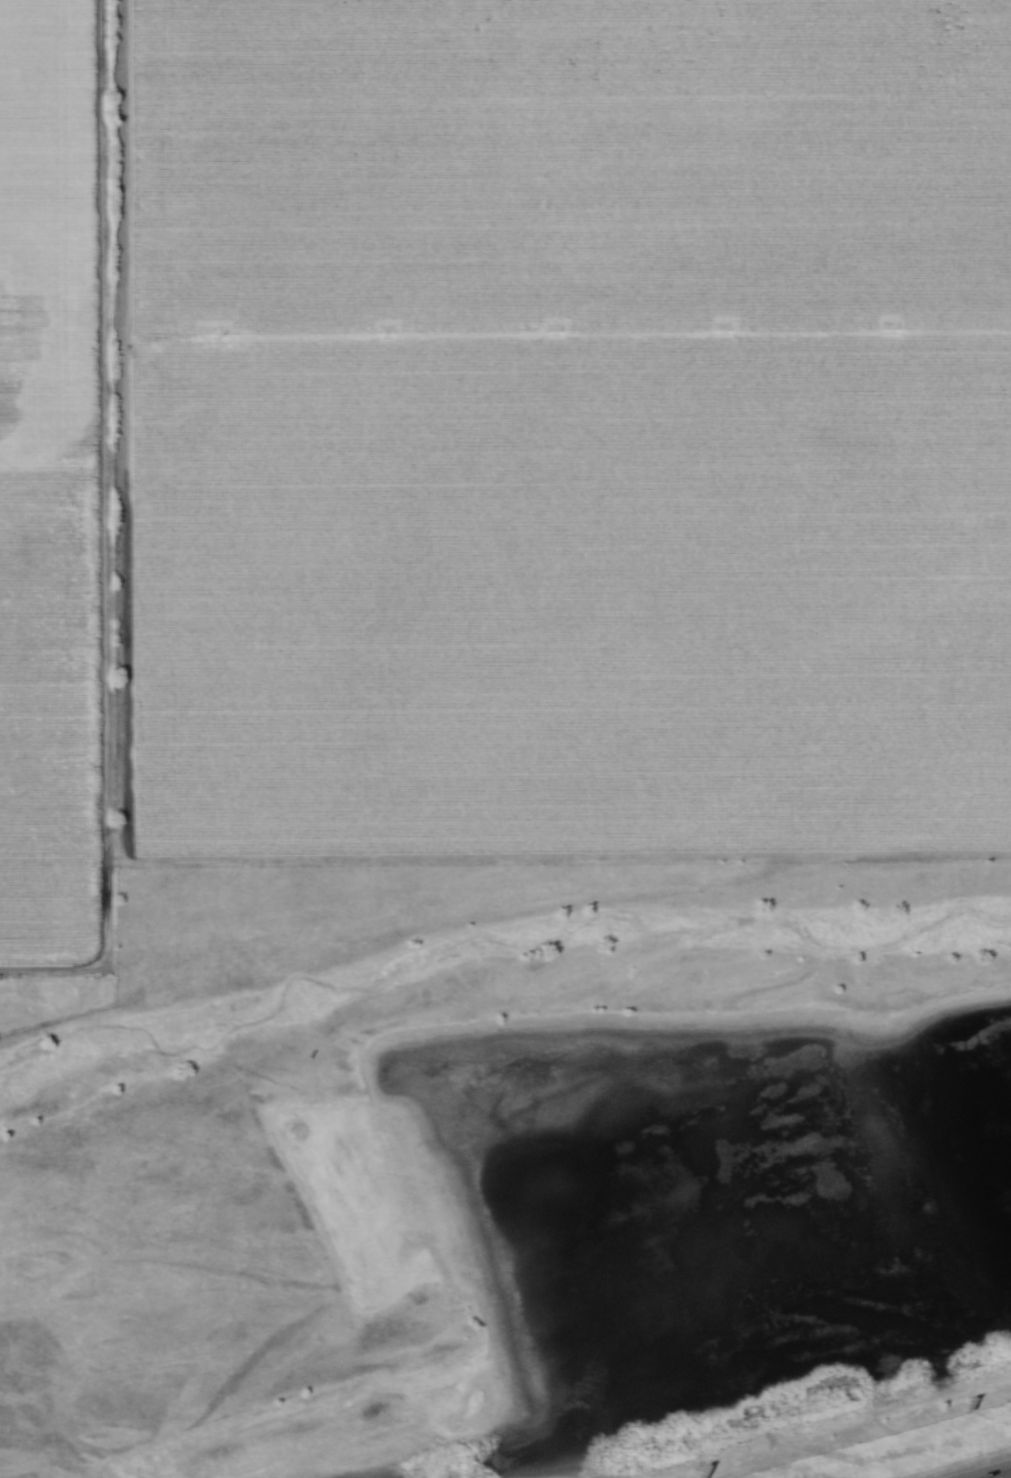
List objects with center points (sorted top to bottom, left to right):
road: (1010, 1477)

